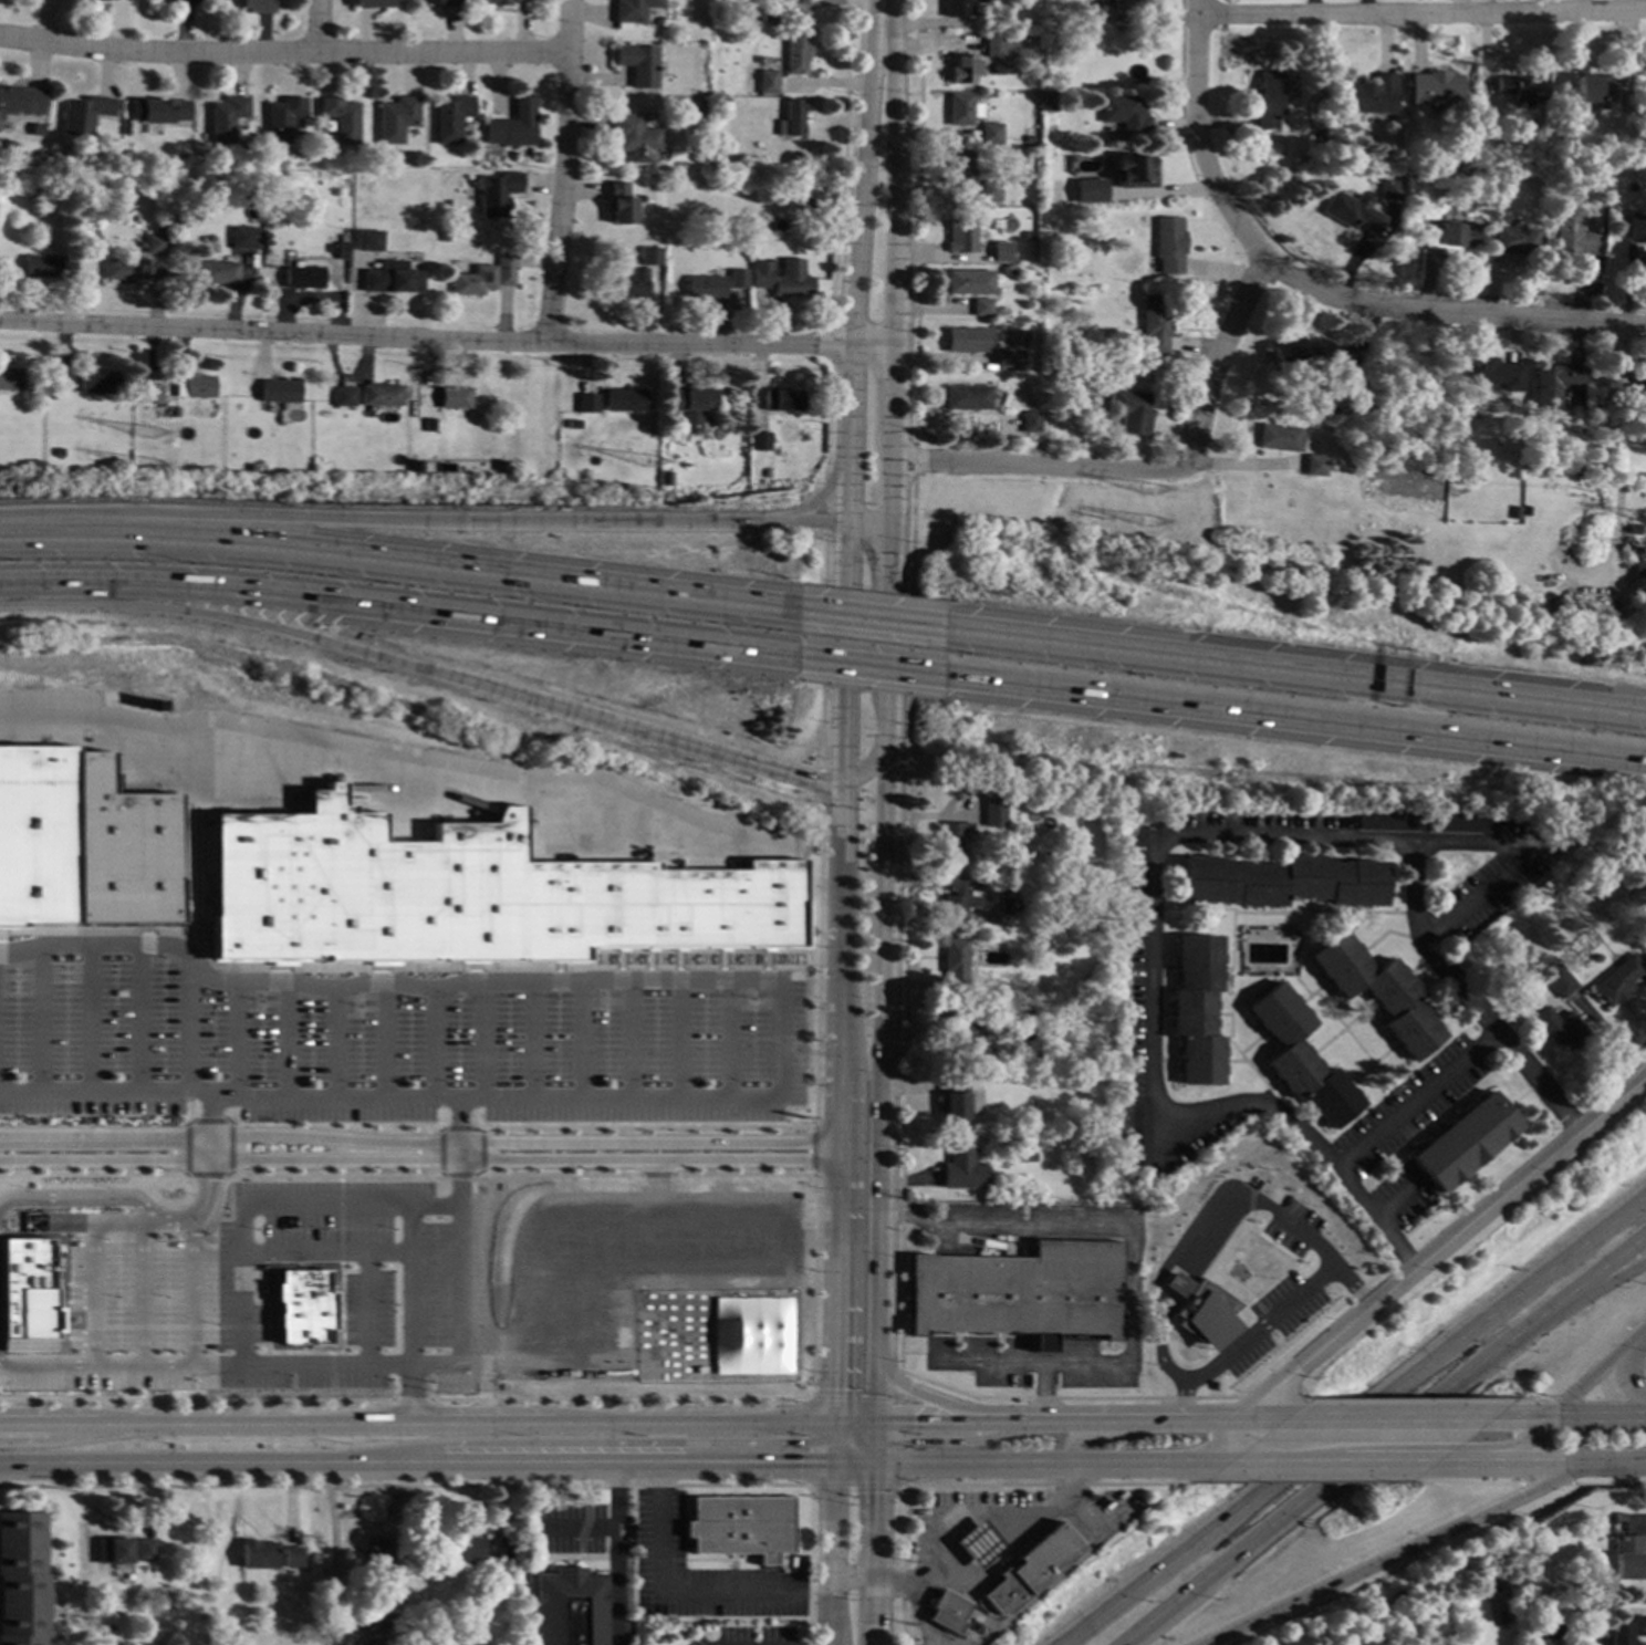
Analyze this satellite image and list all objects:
building: (102, 0)
building: (163, 1)
building: (1119, 1)
building: (494, 2)
building: (796, 2)
building: (375, 3)
building: (442, 3)
building: (254, 7)
building: (961, 8)
building: (634, 10)
building: (770, 13)
road: (1421, 14)
building: (750, 15)
road: (315, 25)
building: (998, 45)
road: (280, 52)
building: (796, 53)
building: (638, 65)
building: (963, 69)
building: (767, 83)
building: (1522, 87)
building: (1434, 89)
building: (1596, 90)
building: (1368, 95)
building: (1269, 100)
building: (1049, 101)
building: (20, 102)
building: (962, 108)
building: (701, 110)
building: (159, 112)
building: (1125, 114)
building: (83, 115)
building: (223, 119)
building: (281, 119)
building: (340, 119)
building: (395, 119)
building: (449, 119)
building: (792, 119)
building: (511, 127)
building: (35, 131)
building: (990, 133)
building: (635, 138)
road: (1199, 139)
building: (1315, 139)
building: (1565, 147)
building: (697, 153)
road: (842, 163)
building: (956, 167)
road: (562, 170)
building: (1500, 170)
building: (1132, 171)
building: (1584, 176)
building: (85, 184)
building: (1390, 189)
building: (184, 190)
building: (988, 190)
building: (1088, 190)
building: (496, 194)
building: (619, 204)
building: (1353, 210)
building: (1049, 217)
building: (354, 223)
building: (1635, 227)
building: (1571, 231)
building: (961, 233)
building: (1028, 235)
building: (1452, 236)
building: (444, 237)
building: (1517, 237)
building: (244, 238)
building: (368, 242)
building: (1169, 243)
building: (156, 244)
building: (1001, 251)
building: (342, 252)
building: (650, 258)
road: (854, 260)
building: (43, 268)
building: (1004, 269)
building: (124, 270)
building: (504, 271)
building: (217, 274)
building: (303, 279)
building: (782, 279)
building: (392, 280)
building: (737, 280)
building: (968, 281)
building: (473, 282)
building: (633, 285)
building: (705, 288)
building: (980, 306)
road: (1449, 315)
building: (1153, 325)
road: (446, 337)
building: (967, 340)
road: (827, 344)
building: (1299, 348)
building: (1008, 358)
road: (1213, 363)
building: (1493, 373)
building: (10, 381)
building: (63, 383)
building: (97, 384)
building: (1555, 384)
building: (198, 387)
building: (1631, 389)
building: (279, 392)
building: (1353, 394)
building: (152, 395)
building: (382, 397)
building: (967, 397)
building: (345, 398)
building: (450, 398)
building: (624, 402)
building: (782, 402)
building: (587, 404)
building: (1329, 407)
building: (692, 408)
building: (1131, 409)
building: (174, 413)
building: (230, 419)
road: (826, 420)
building: (1030, 421)
building: (573, 425)
building: (430, 426)
building: (1447, 433)
building: (1280, 437)
building: (760, 443)
power tower: (152, 446)
building: (59, 454)
building: (1314, 460)
road: (1040, 464)
power tower: (153, 473)
power tower: (652, 473)
building: (667, 479)
power tower: (1153, 498)
building: (1289, 501)
power tower: (650, 502)
road: (824, 507)
building: (1525, 510)
building: (1514, 511)
road: (421, 519)
traffic signals: (466, 521)
road: (866, 522)
power tower: (1148, 529)
road: (398, 558)
road: (397, 610)
road: (867, 618)
road: (247, 622)
road: (841, 654)
road: (866, 668)
road: (1293, 668)
road: (886, 676)
road: (1293, 720)
road: (663, 737)
traffic signals: (840, 751)
road: (395, 752)
road: (862, 770)
traffic signals: (808, 778)
road: (821, 788)
traffic signals: (884, 795)
building: (993, 812)
building: (1387, 821)
building: (1458, 822)
building: (38, 834)
building: (1616, 837)
building: (951, 841)
building: (123, 850)
building: (1007, 857)
road: (1508, 862)
building: (1567, 878)
building: (1283, 881)
building: (269, 884)
building: (374, 888)
building: (478, 888)
building: (958, 897)
building: (658, 907)
building: (1054, 924)
road: (837, 934)
building: (1645, 940)
building: (1645, 945)
road: (689, 950)
road: (722, 958)
road: (767, 958)
road: (162, 959)
road: (621, 959)
road: (649, 959)
road: (678, 959)
building: (954, 964)
road: (20, 966)
road: (816, 966)
road: (393, 967)
road: (806, 976)
road: (20, 978)
road: (14, 980)
road: (628, 980)
building: (1616, 980)
building: (1560, 983)
road: (606, 990)
road: (753, 990)
road: (260, 992)
building: (1378, 992)
road: (20, 996)
road: (360, 997)
road: (1463, 997)
road: (764, 1001)
road: (616, 1002)
road: (272, 1004)
road: (369, 1009)
road: (601, 1009)
road: (749, 1009)
road: (1153, 1009)
building: (1197, 1009)
road: (256, 1011)
road: (40, 1017)
road: (88, 1017)
road: (137, 1017)
road: (354, 1017)
road: (187, 1022)
building: (1559, 1028)
building: (958, 1030)
road: (680, 1038)
road: (729, 1038)
building: (1008, 1038)
road: (287, 1039)
road: (385, 1039)
road: (582, 1039)
road: (631, 1039)
road: (236, 1040)
road: (483, 1040)
road: (532, 1040)
parking lot: (388, 1041)
road: (335, 1043)
road: (434, 1043)
building: (1300, 1056)
road: (94, 1090)
road: (211, 1093)
road: (346, 1097)
building: (952, 1099)
road: (1415, 1103)
road: (188, 1107)
road: (210, 1115)
road: (191, 1121)
road: (209, 1121)
road: (229, 1121)
road: (440, 1128)
road: (459, 1128)
road: (644, 1128)
road: (481, 1131)
building: (1136, 1135)
building: (1463, 1141)
road: (420, 1144)
road: (230, 1147)
road: (208, 1148)
road: (187, 1151)
road: (813, 1151)
road: (440, 1152)
road: (481, 1152)
building: (1029, 1156)
building: (1067, 1157)
road: (421, 1159)
building: (961, 1168)
road: (230, 1173)
road: (481, 1173)
building: (1144, 1174)
road: (334, 1175)
road: (441, 1175)
road: (458, 1175)
road: (643, 1175)
road: (93, 1176)
road: (206, 1176)
road: (340, 1177)
road: (206, 1194)
road: (77, 1198)
road: (1644, 1198)
road: (269, 1205)
road: (340, 1221)
road: (126, 1222)
road: (1454, 1237)
road: (324, 1252)
road: (840, 1252)
road: (1127, 1267)
road: (1604, 1271)
road: (65, 1280)
road: (1604, 1283)
road: (79, 1284)
parking lot: (158, 1285)
road: (410, 1285)
road: (813, 1285)
building: (28, 1290)
building: (1019, 1291)
road: (142, 1293)
building: (1274, 1293)
road: (79, 1302)
building: (304, 1308)
road: (367, 1309)
road: (458, 1314)
road: (354, 1316)
road: (74, 1328)
road: (175, 1328)
road: (354, 1335)
road: (80, 1339)
road: (335, 1352)
road: (914, 1353)
building: (1204, 1357)
road: (898, 1362)
road: (45, 1365)
road: (142, 1365)
road: (301, 1365)
road: (331, 1370)
road: (1597, 1371)
road: (1633, 1374)
road: (897, 1386)
road: (875, 1387)
traffic signals: (837, 1389)
road: (1041, 1392)
road: (1175, 1392)
road: (854, 1397)
road: (405, 1399)
road: (936, 1399)
road: (483, 1407)
road: (1522, 1415)
road: (1597, 1415)
road: (1390, 1416)
road: (1263, 1417)
road: (1127, 1419)
road: (944, 1422)
road: (416, 1423)
road: (854, 1423)
traffic signals: (911, 1423)
road: (1354, 1424)
road: (1231, 1428)
road: (1114, 1431)
road: (833, 1433)
road: (853, 1433)
road: (873, 1433)
road: (79, 1436)
road: (810, 1440)
road: (958, 1440)
road: (899, 1441)
traffic signals: (913, 1441)
road: (582, 1443)
traffic signals: (799, 1443)
road: (850, 1447)
road: (1496, 1449)
road: (832, 1451)
road: (873, 1453)
road: (1051, 1460)
road: (1284, 1460)
road: (1386, 1461)
traffic signals: (798, 1462)
road: (852, 1462)
road: (1540, 1462)
road: (583, 1465)
road: (167, 1466)
road: (1343, 1472)
road: (853, 1485)
traffic signals: (872, 1493)
building: (1617, 1517)
building: (740, 1524)
building: (977, 1542)
building: (143, 1547)
building: (480, 1547)
building: (112, 1550)
building: (257, 1553)
road: (829, 1553)
road: (871, 1553)
road: (1398, 1553)
building: (379, 1554)
road: (613, 1554)
building: (291, 1555)
building: (1626, 1556)
building: (1029, 1569)
road: (979, 1573)
building: (21, 1579)
road: (683, 1590)
gas station: (1003, 1593)
building: (570, 1606)
building: (946, 1611)
building: (382, 1620)
building: (101, 1630)
building: (1624, 1630)
building: (381, 1638)
road: (742, 1644)

